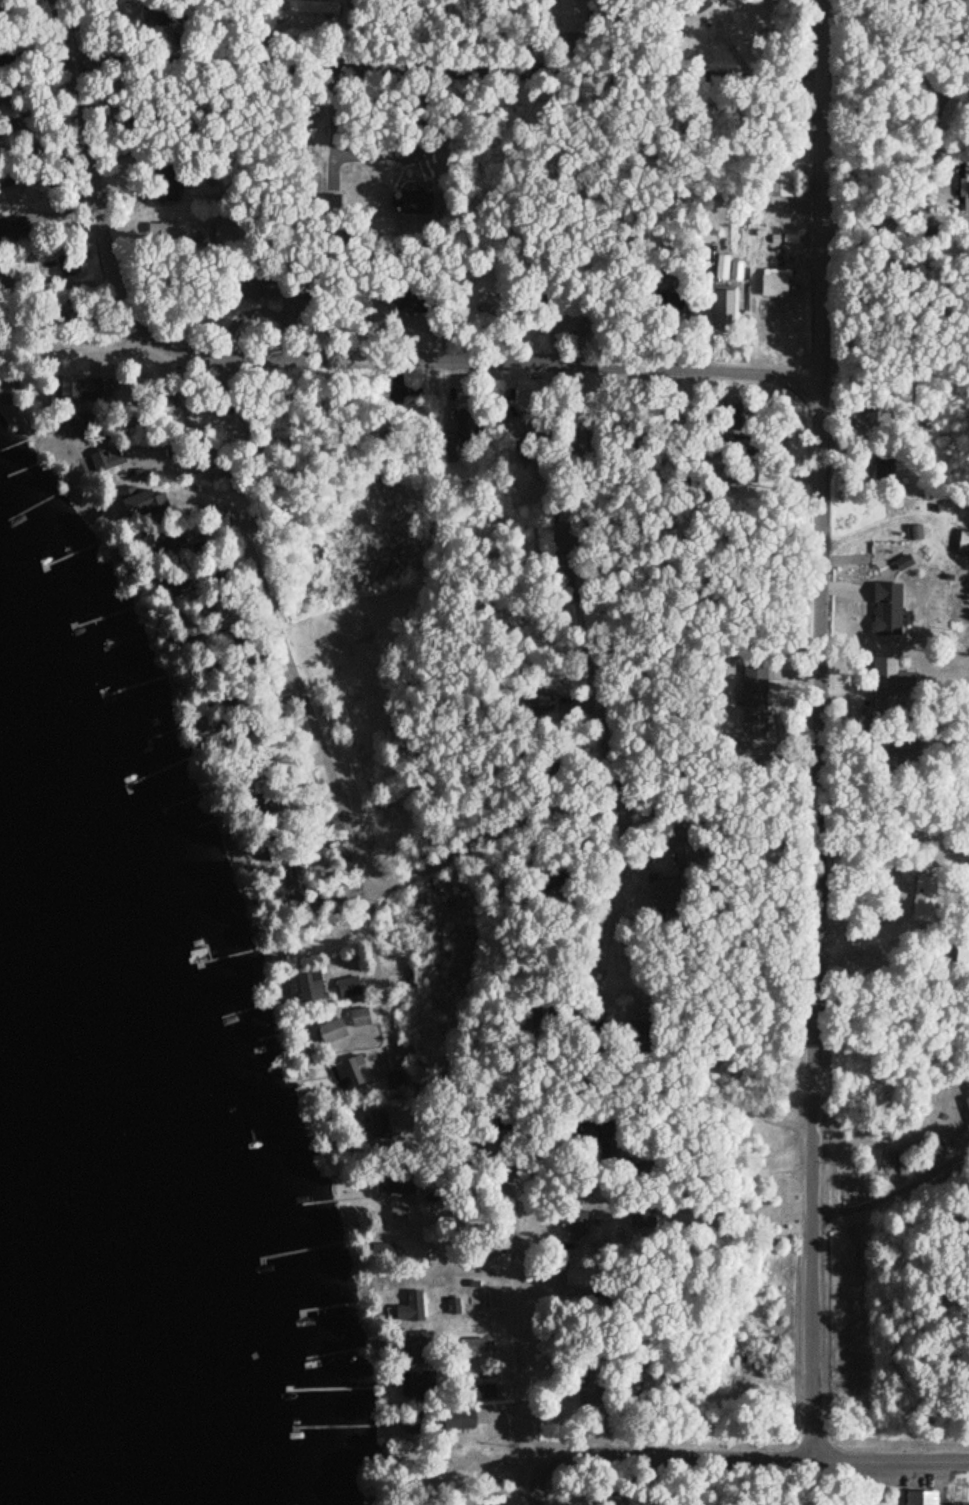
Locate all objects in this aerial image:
building: (702, 4)
building: (314, 7)
building: (571, 16)
road: (447, 69)
building: (779, 179)
building: (965, 188)
building: (167, 192)
road: (821, 194)
building: (415, 204)
building: (13, 230)
building: (166, 235)
building: (722, 267)
building: (737, 271)
building: (778, 276)
building: (4, 281)
building: (255, 289)
building: (664, 303)
building: (486, 309)
road: (84, 350)
road: (302, 359)
building: (81, 390)
building: (877, 412)
building: (415, 416)
building: (468, 422)
building: (84, 424)
building: (515, 429)
building: (574, 442)
building: (451, 450)
building: (107, 459)
building: (885, 470)
building: (140, 504)
building: (566, 538)
building: (156, 542)
building: (173, 586)
building: (224, 609)
building: (887, 610)
building: (192, 626)
building: (889, 683)
road: (599, 717)
building: (908, 749)
building: (308, 853)
road: (614, 868)
building: (551, 878)
road: (400, 883)
building: (670, 892)
building: (925, 898)
road: (817, 923)
building: (962, 960)
building: (309, 985)
building: (348, 987)
building: (360, 1017)
building: (331, 1030)
building: (347, 1073)
building: (395, 1080)
building: (956, 1120)
building: (377, 1122)
building: (597, 1141)
building: (638, 1174)
building: (402, 1184)
building: (400, 1213)
building: (643, 1218)
building: (575, 1221)
building: (480, 1247)
building: (386, 1254)
building: (414, 1313)
building: (473, 1339)
road: (520, 1343)
building: (418, 1347)
building: (420, 1383)
building: (631, 1385)
building: (480, 1390)
building: (591, 1395)
building: (466, 1418)
building: (421, 1423)
road: (675, 1458)
road: (892, 1462)
road: (534, 1486)
building: (921, 1497)

